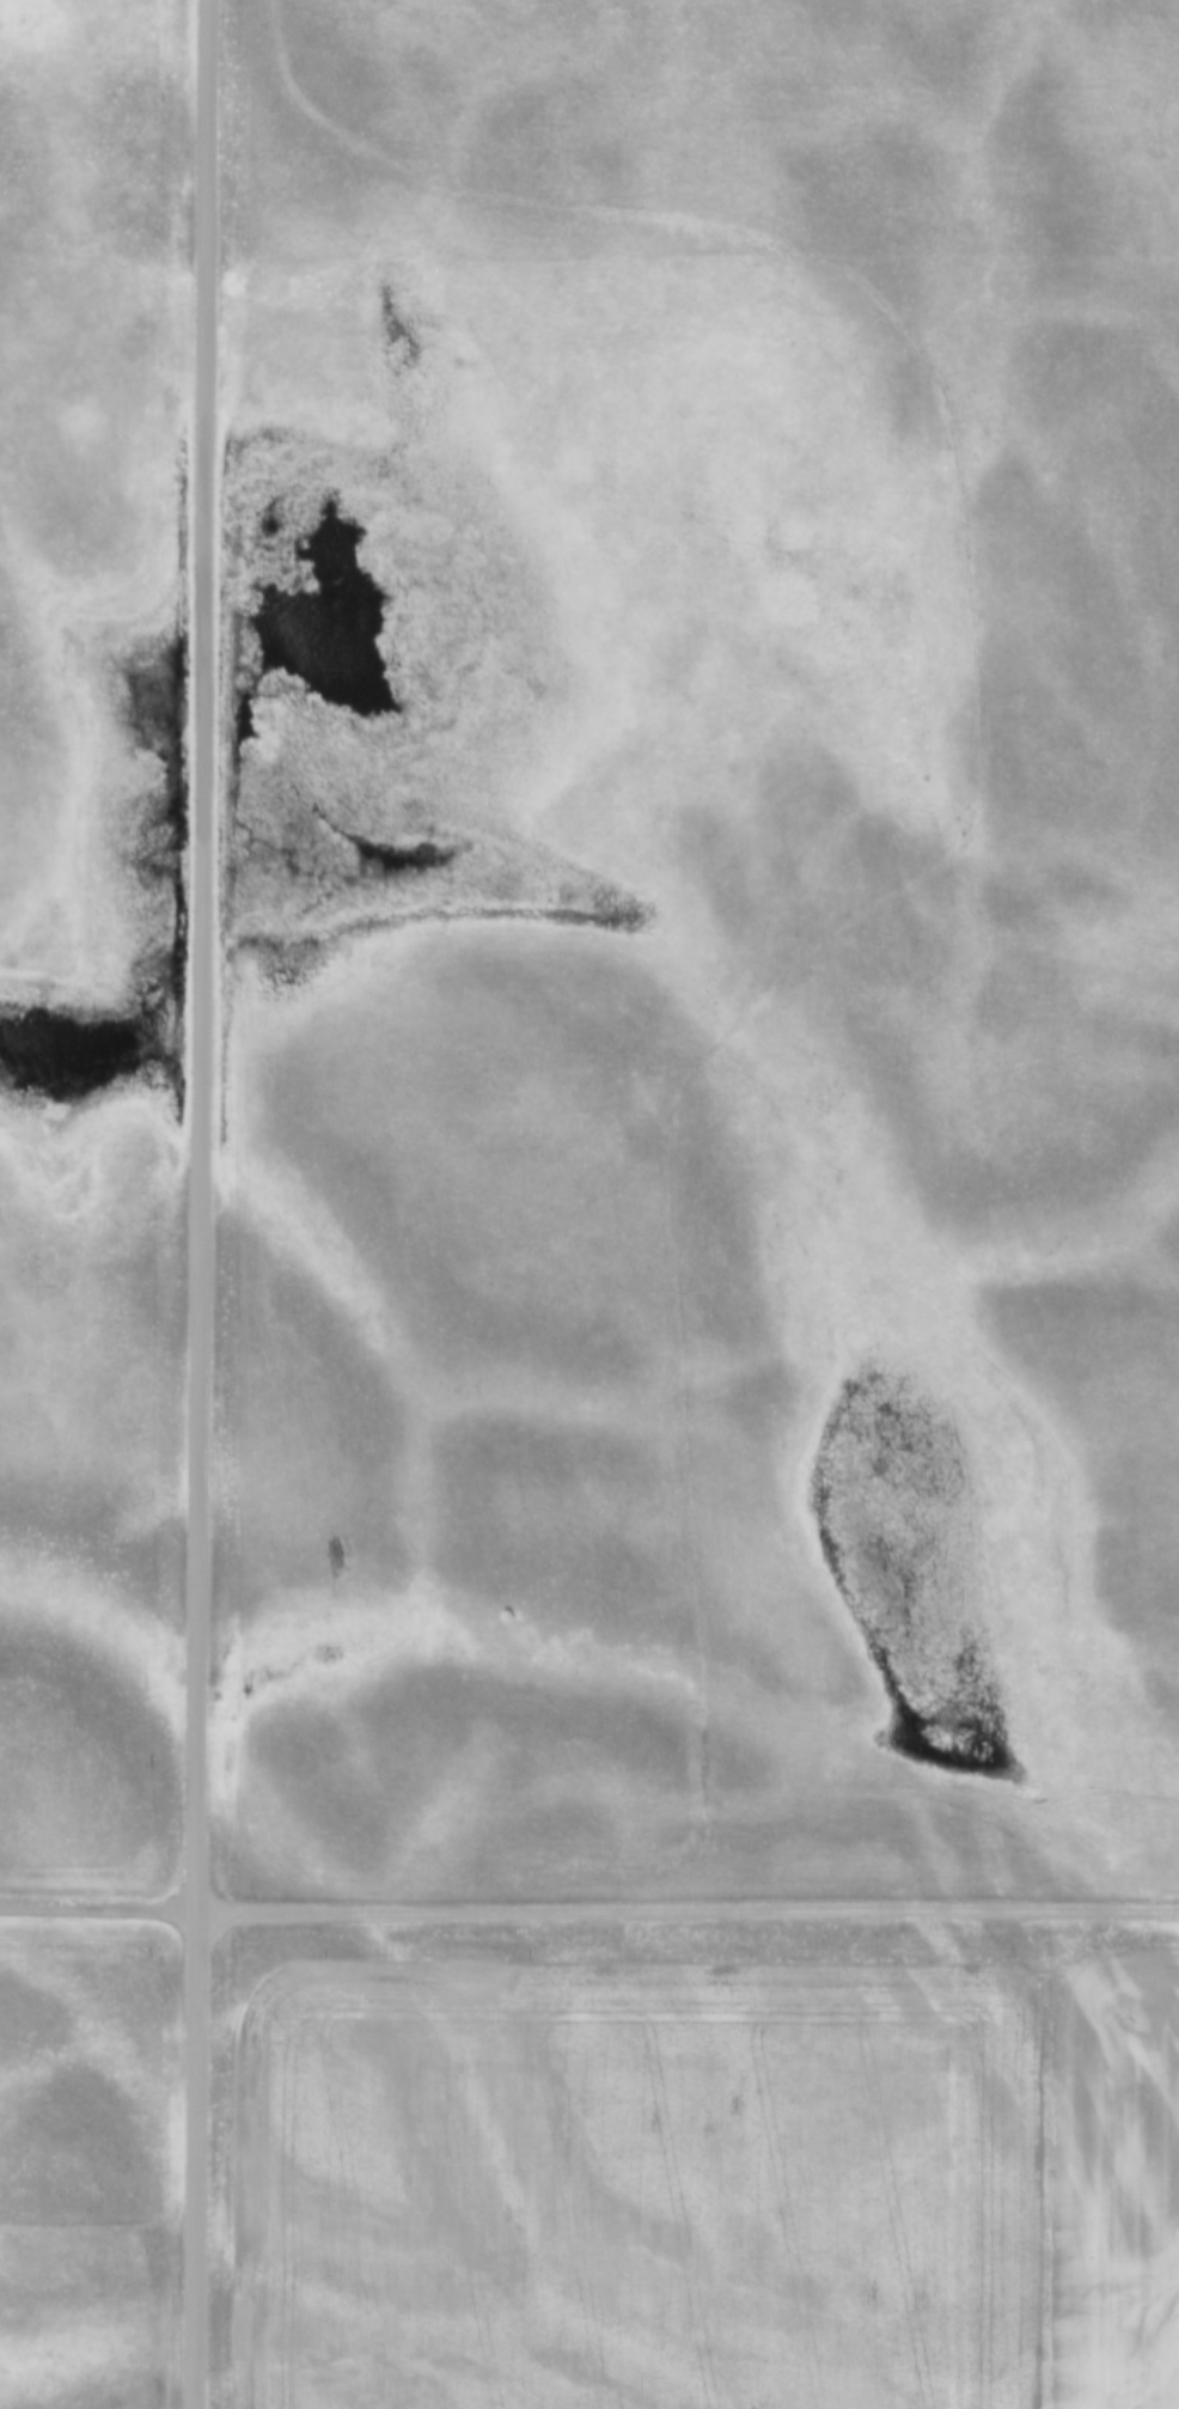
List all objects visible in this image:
road: (210, 1203)
road: (103, 1911)
road: (692, 1913)

